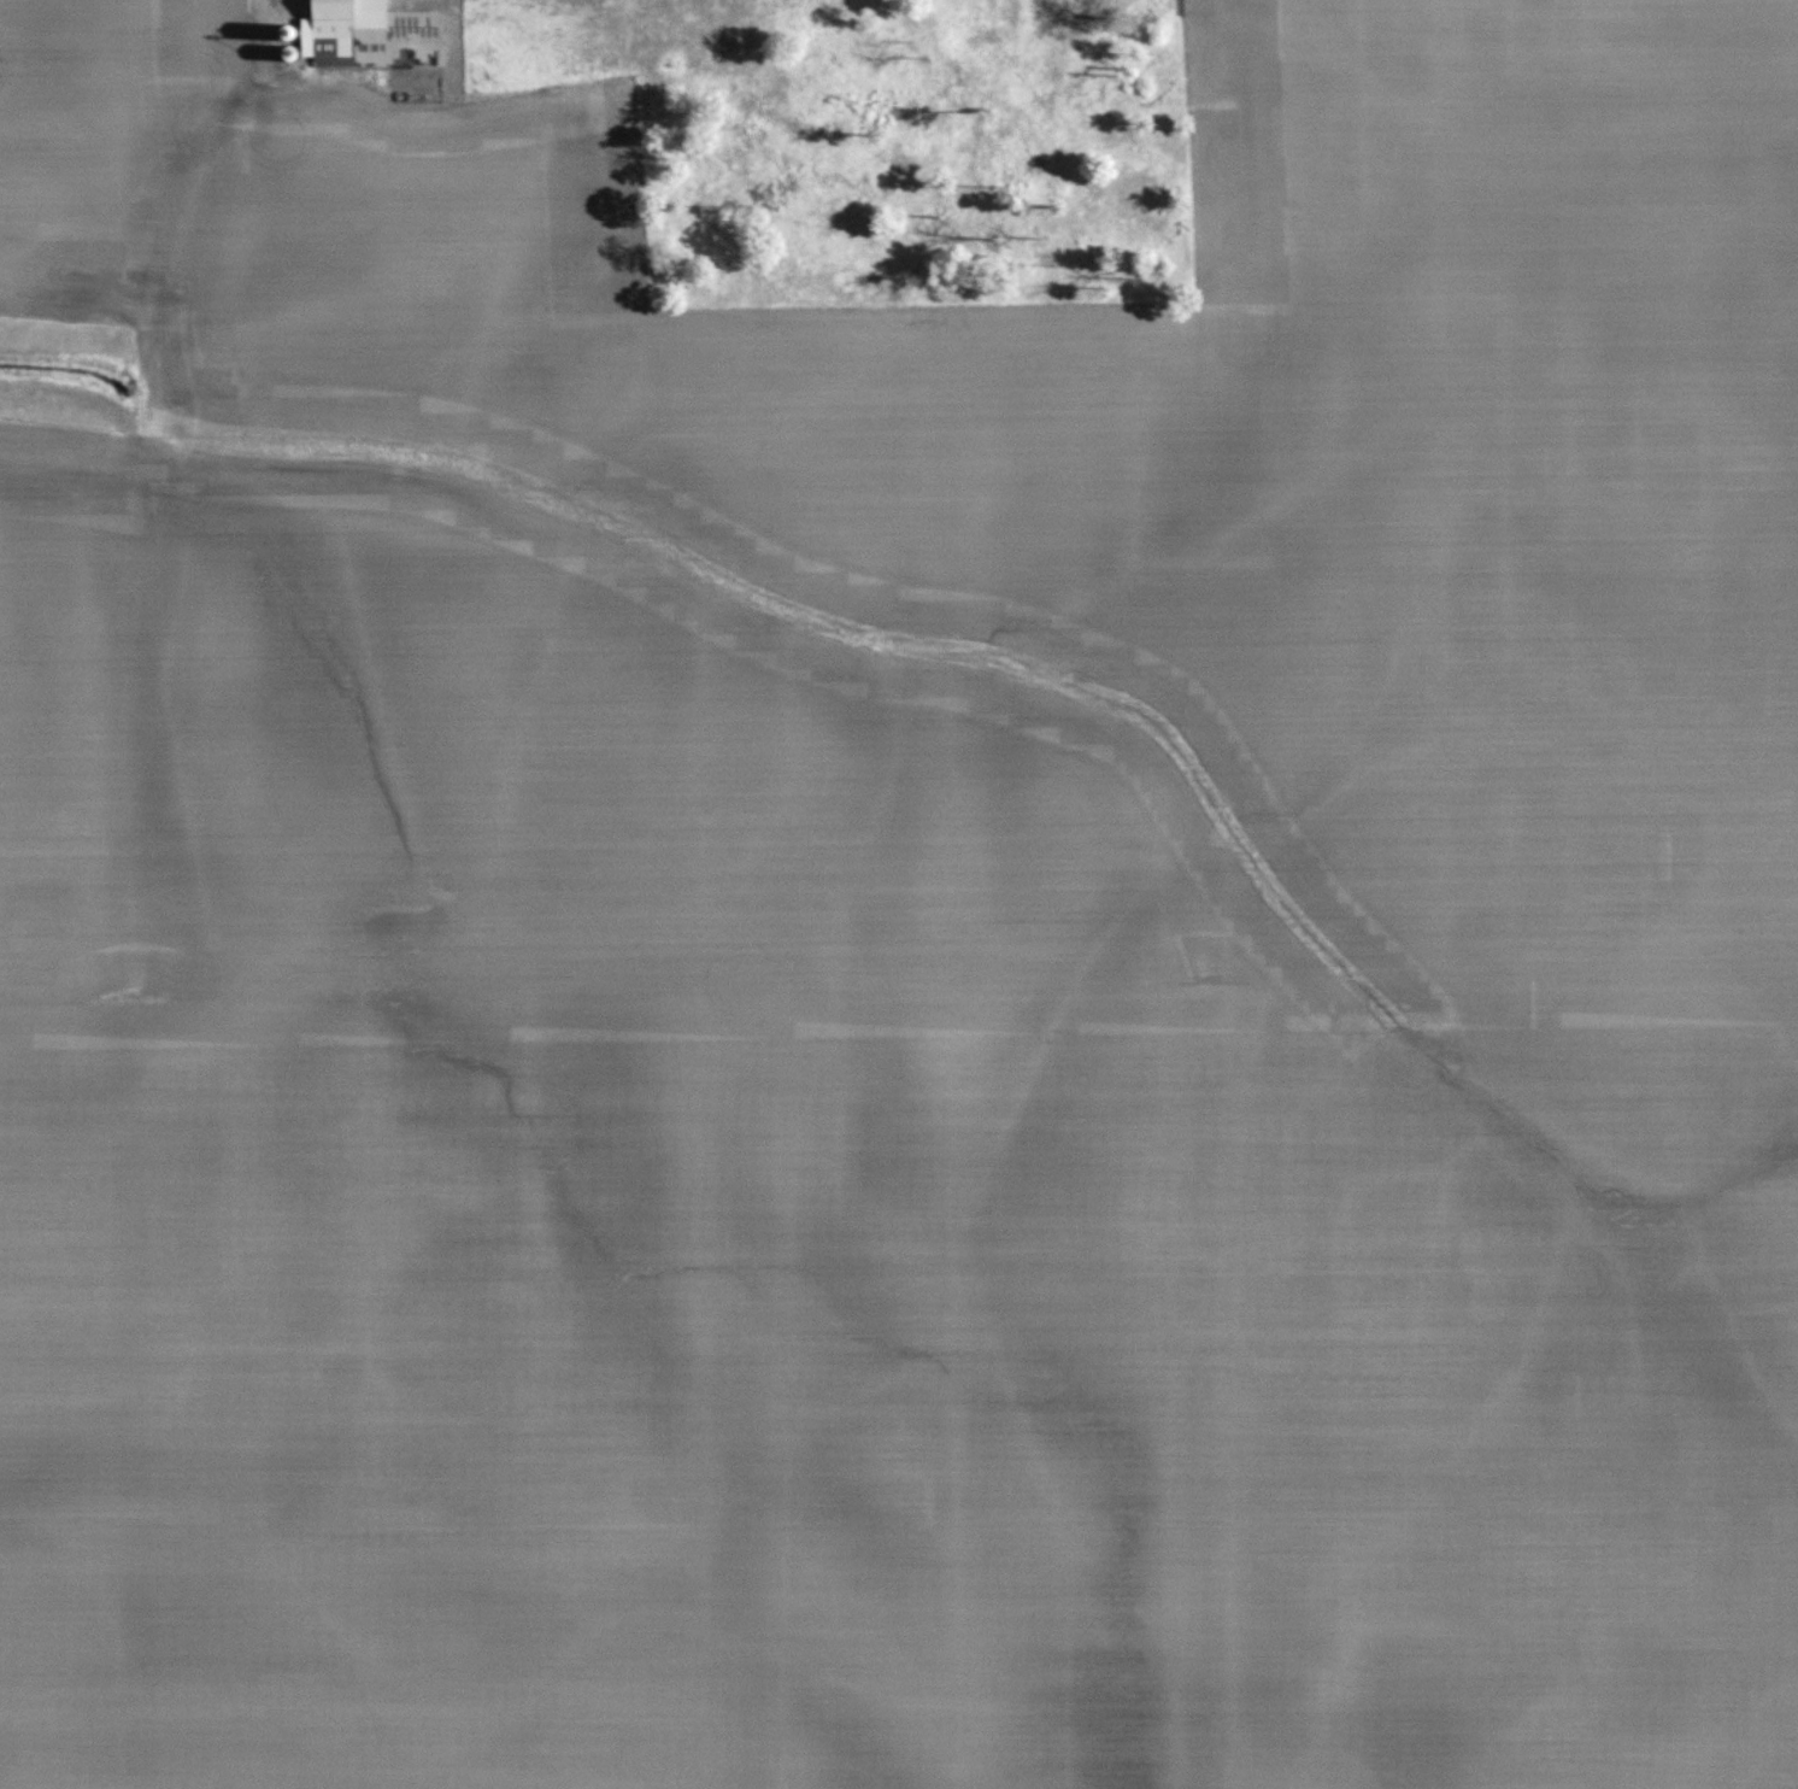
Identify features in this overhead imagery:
building: (371, 34)
building: (282, 37)

